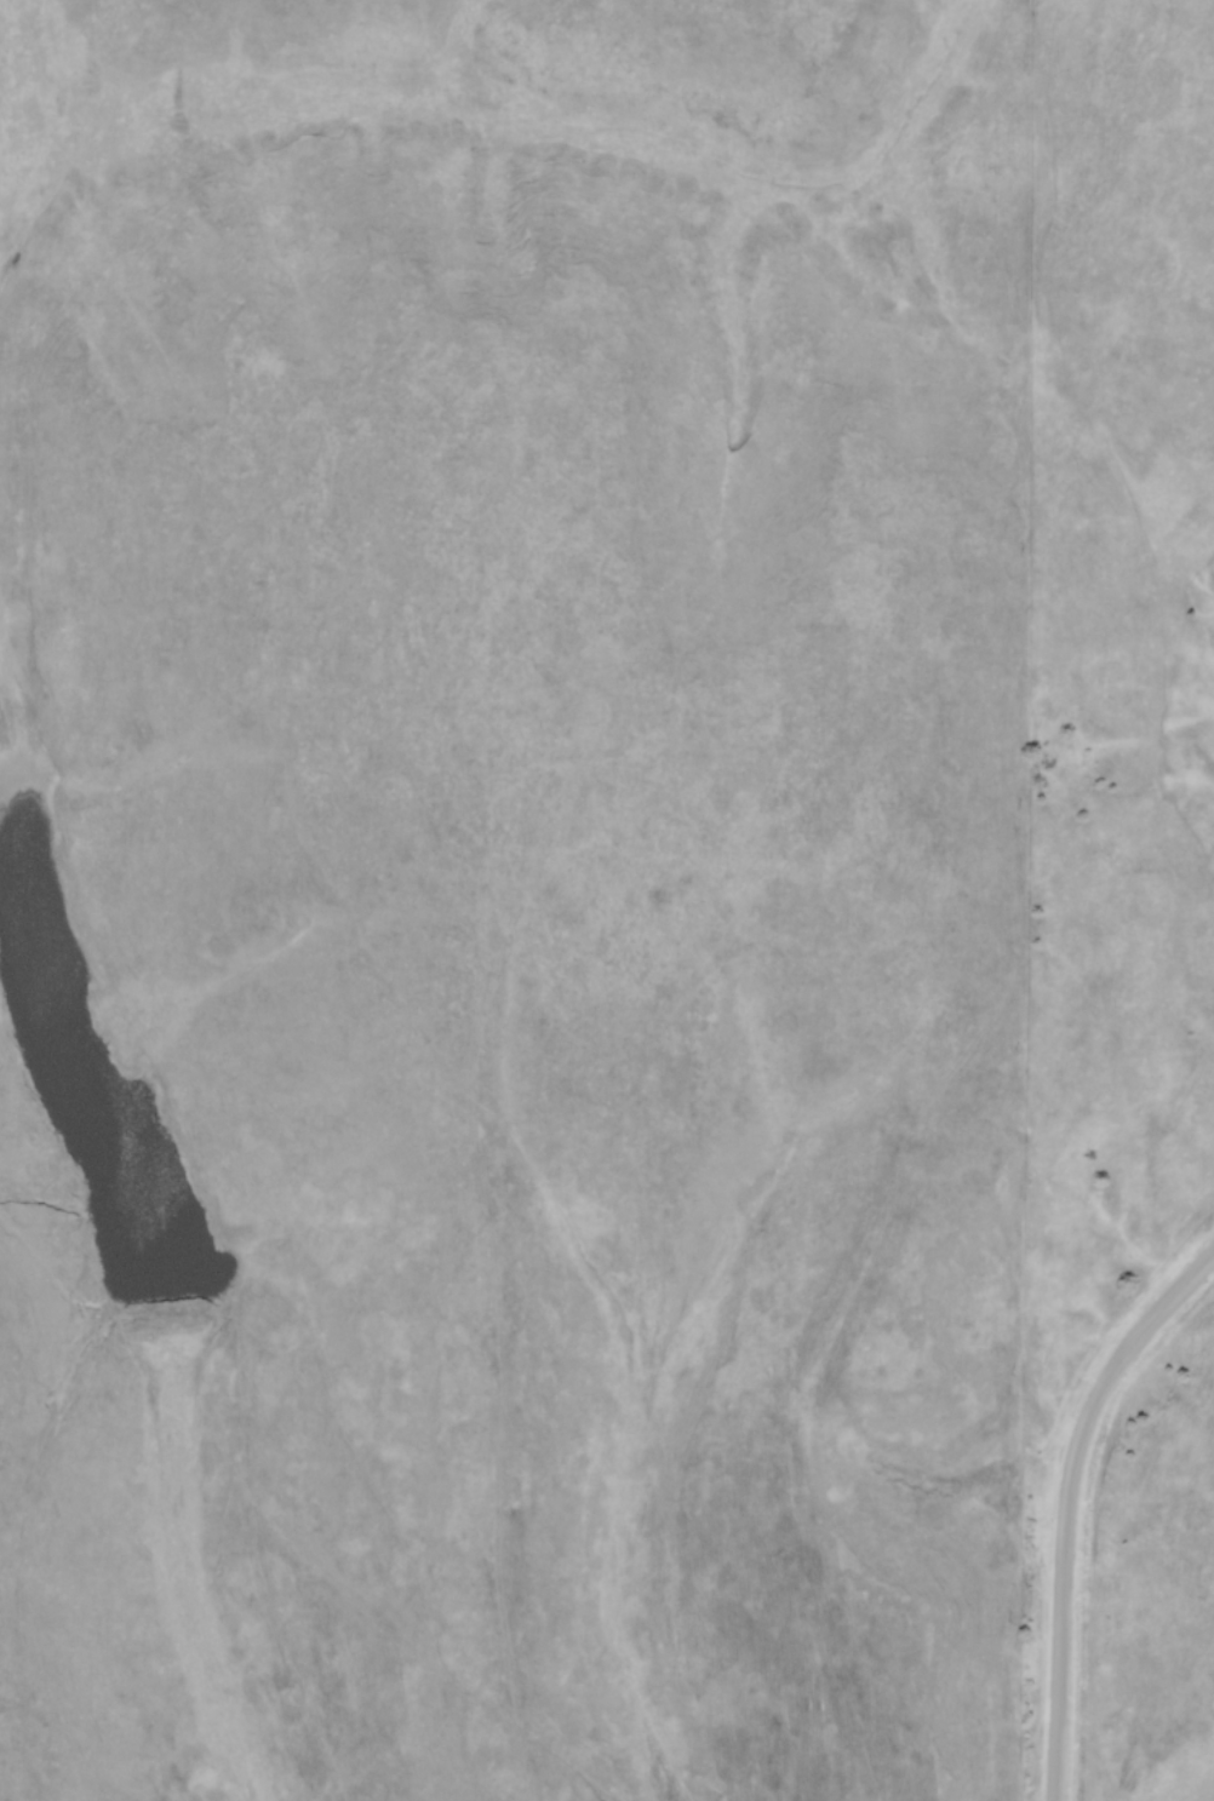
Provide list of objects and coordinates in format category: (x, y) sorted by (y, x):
road: (1070, 1505)

